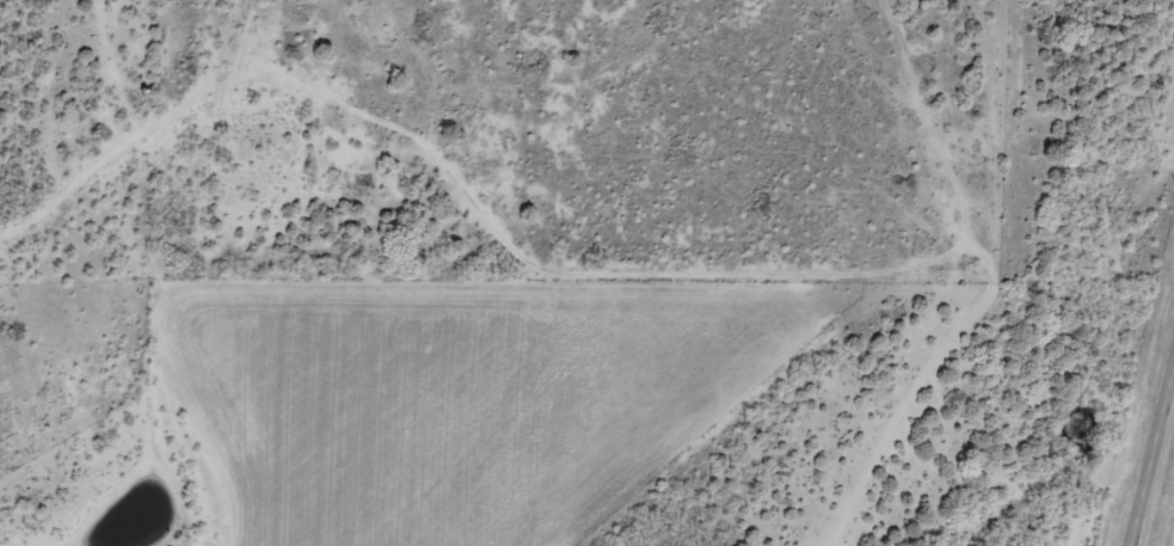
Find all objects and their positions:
road: (1154, 461)

